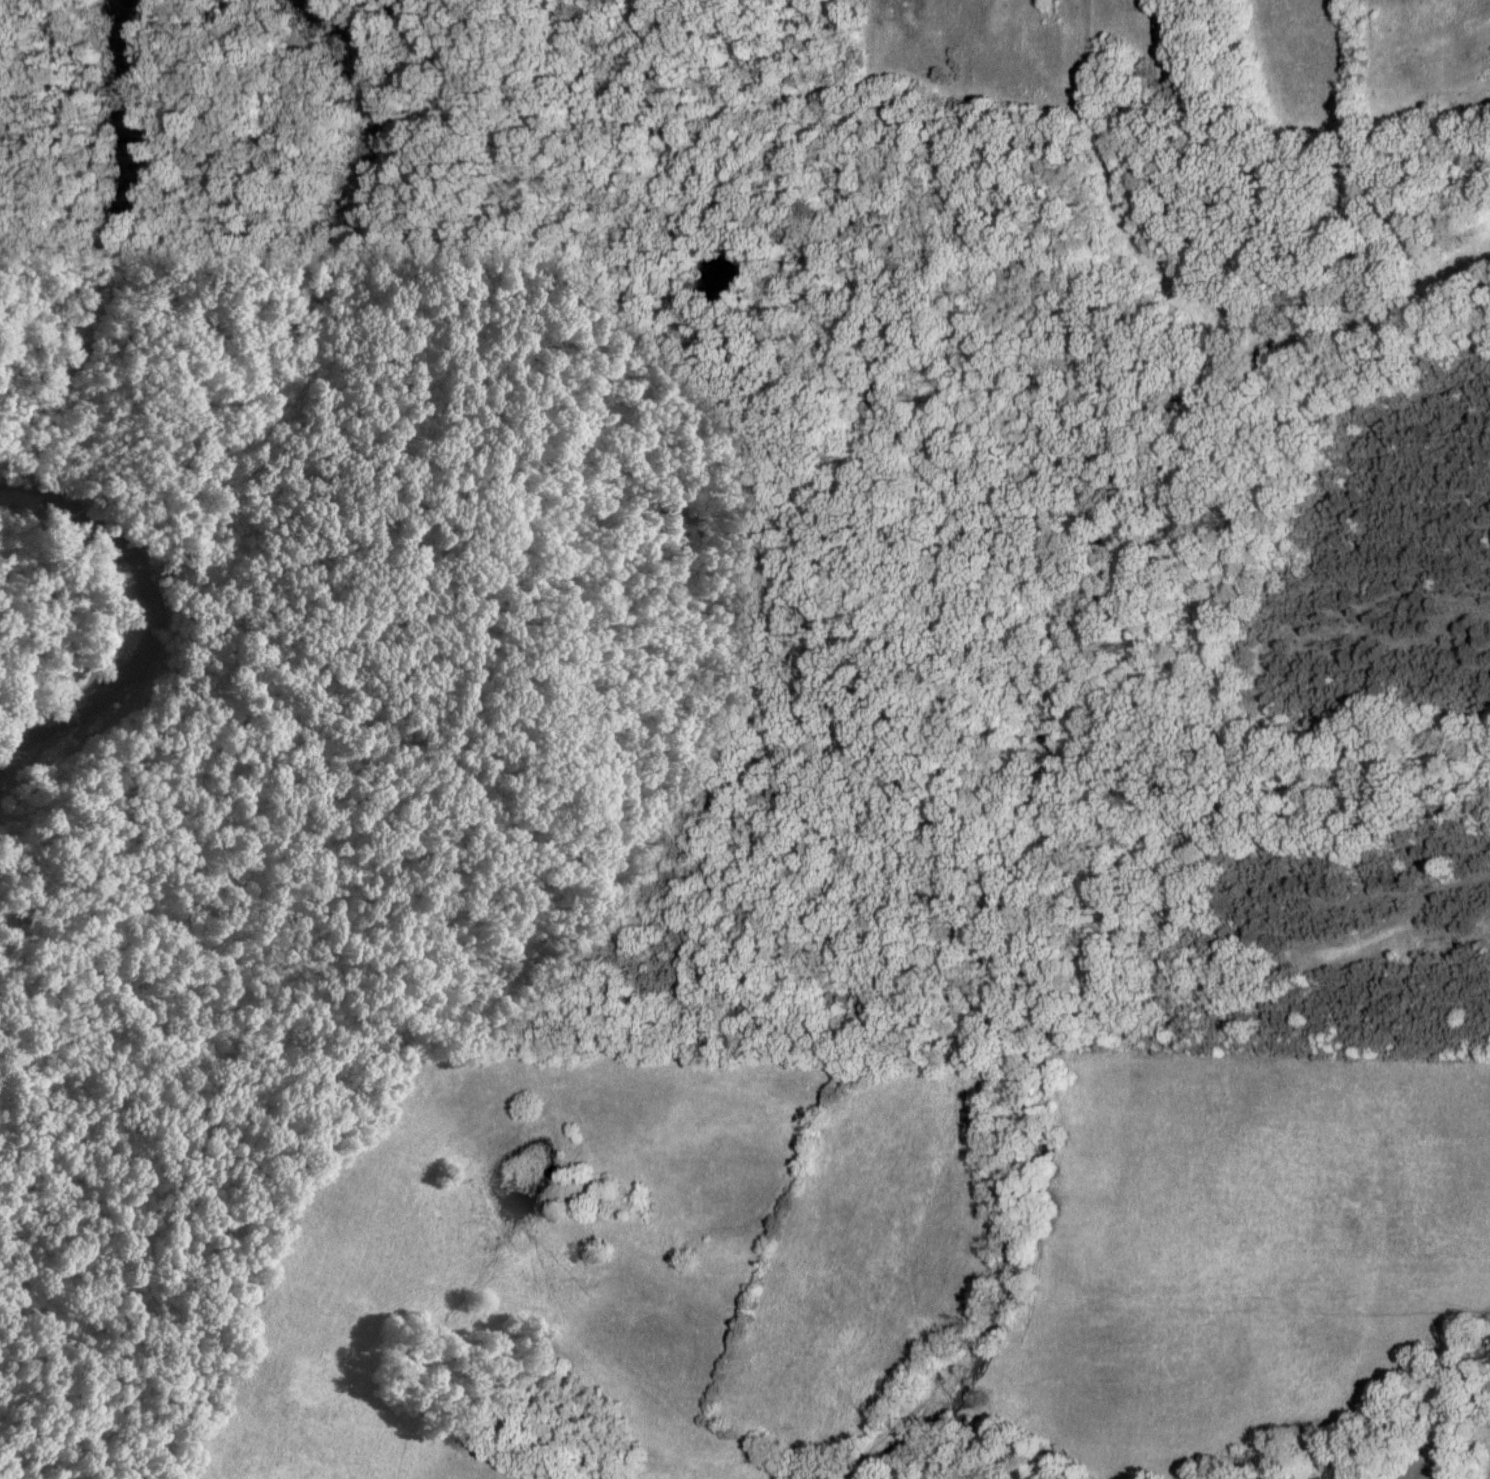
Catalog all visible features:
road: (1198, 282)

